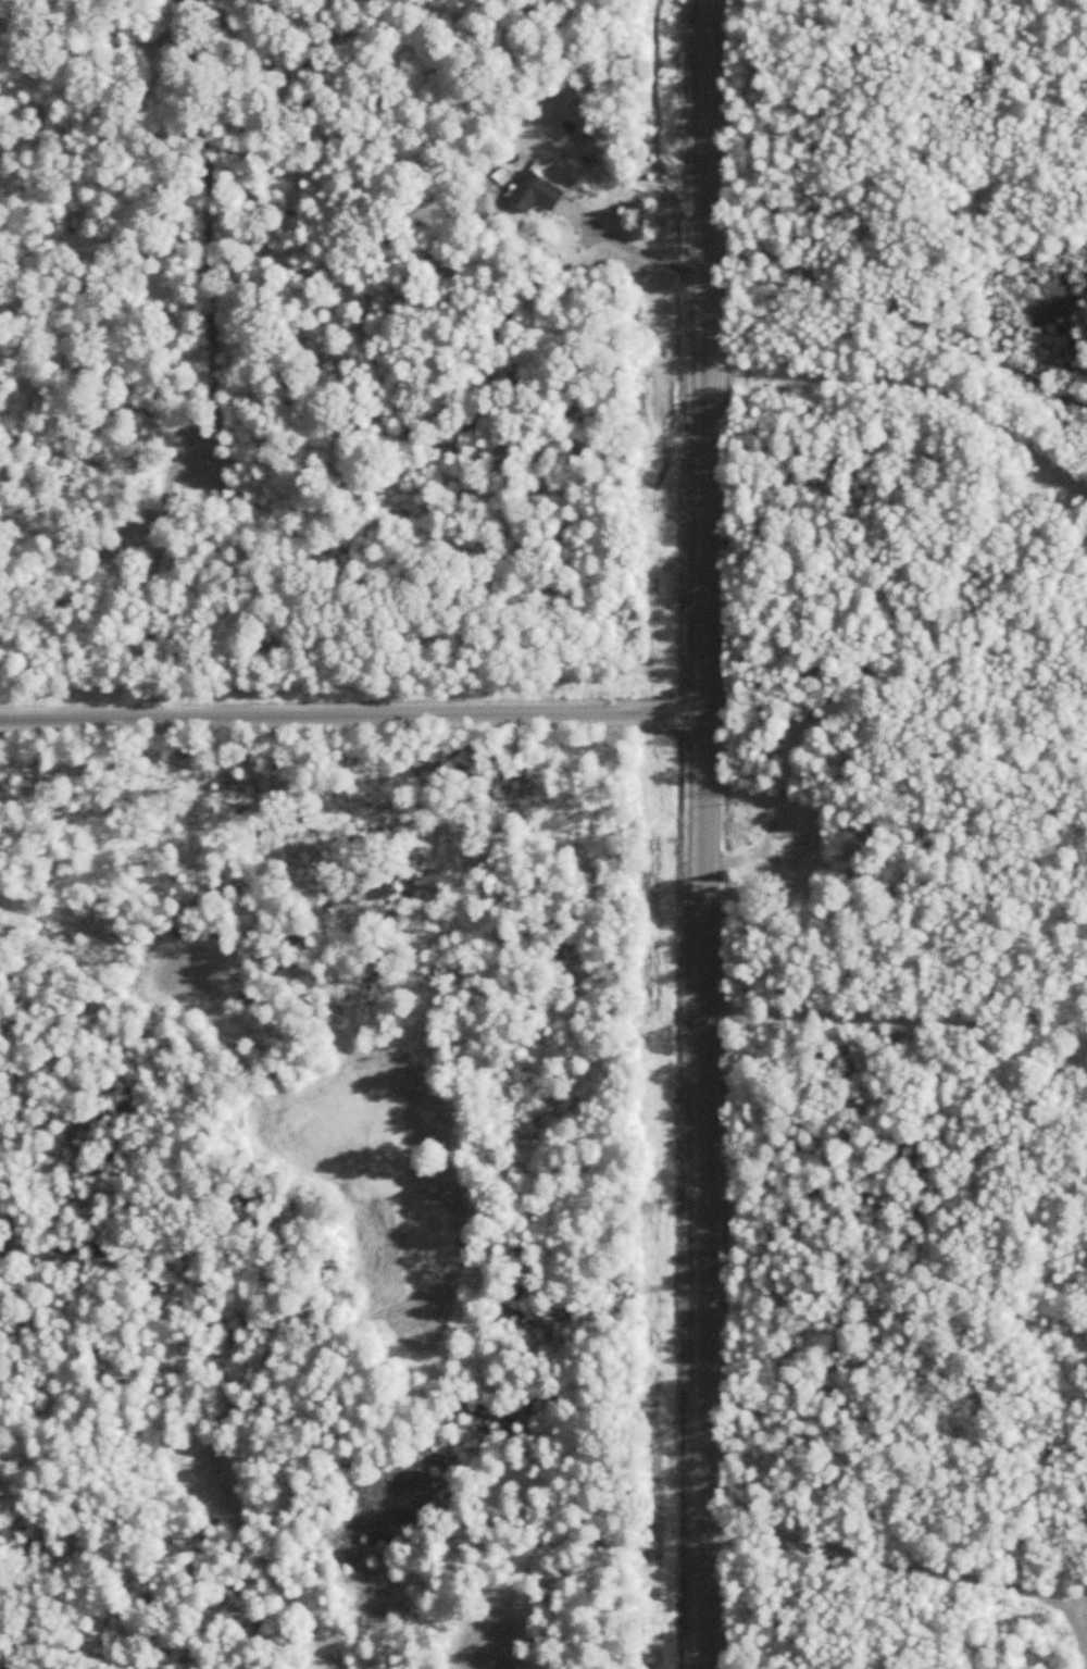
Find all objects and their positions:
building: (534, 194)
road: (353, 714)
building: (784, 815)
road: (707, 834)

